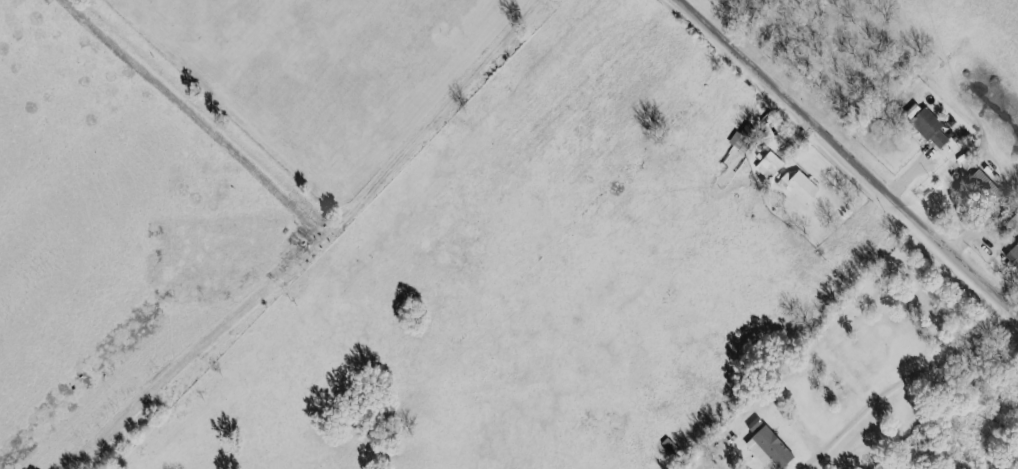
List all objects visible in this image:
building: (932, 128)
road: (853, 150)
building: (769, 165)
building: (799, 186)
road: (326, 245)
building: (1013, 255)
building: (769, 449)

